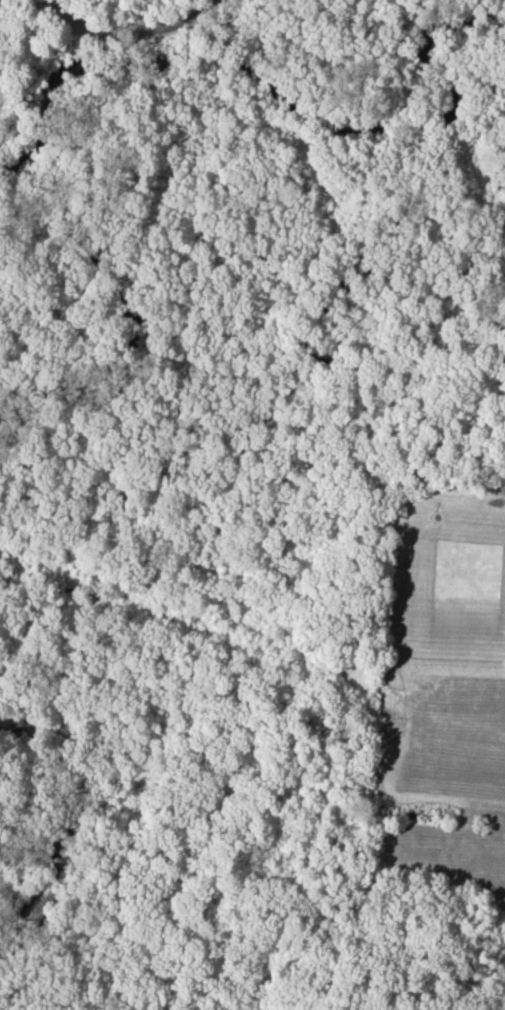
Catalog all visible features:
road: (123, 32)
park: (226, 471)

